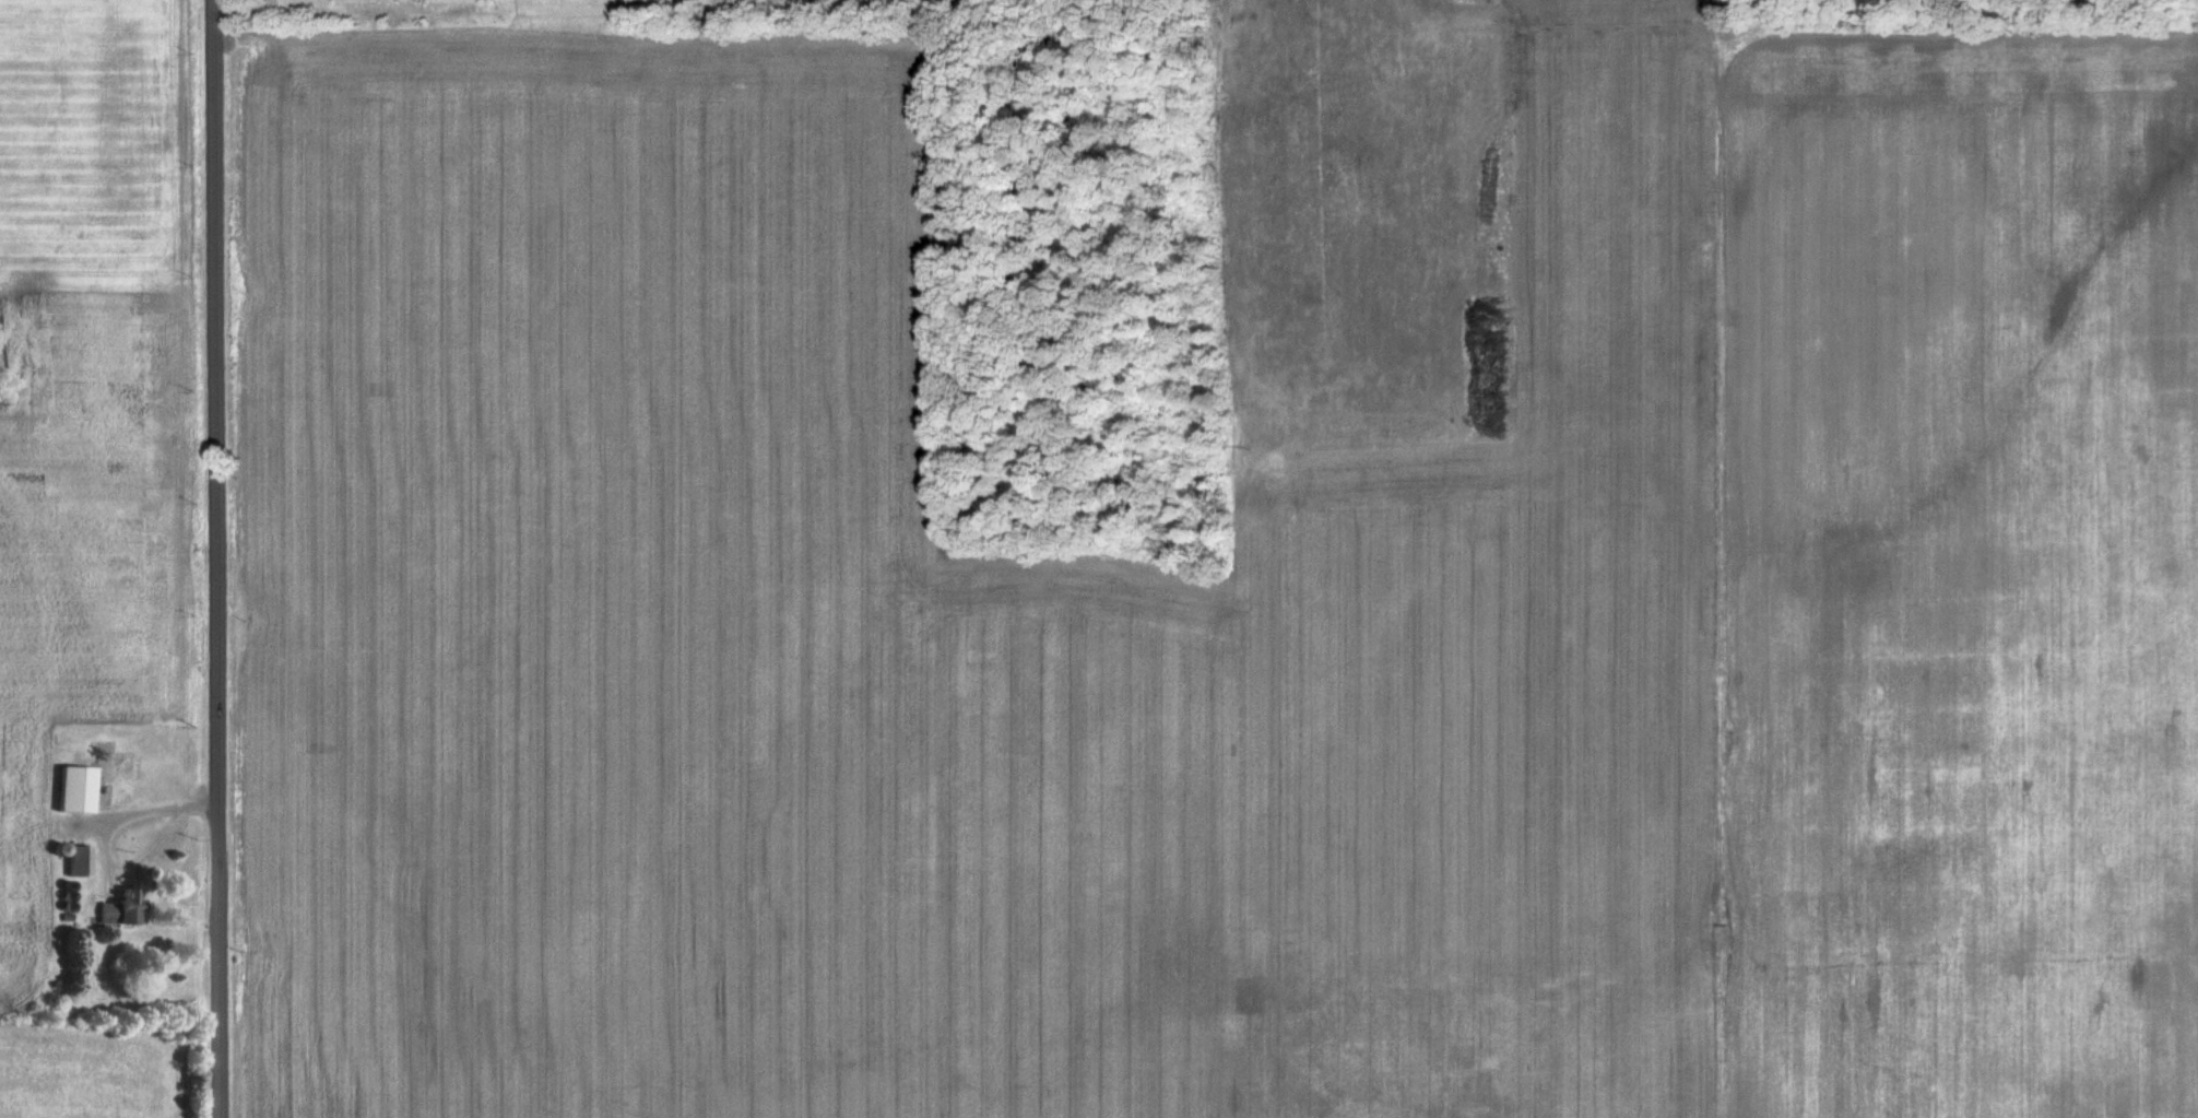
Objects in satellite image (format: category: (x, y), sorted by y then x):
road: (213, 558)
building: (73, 789)
building: (76, 861)
building: (119, 909)

